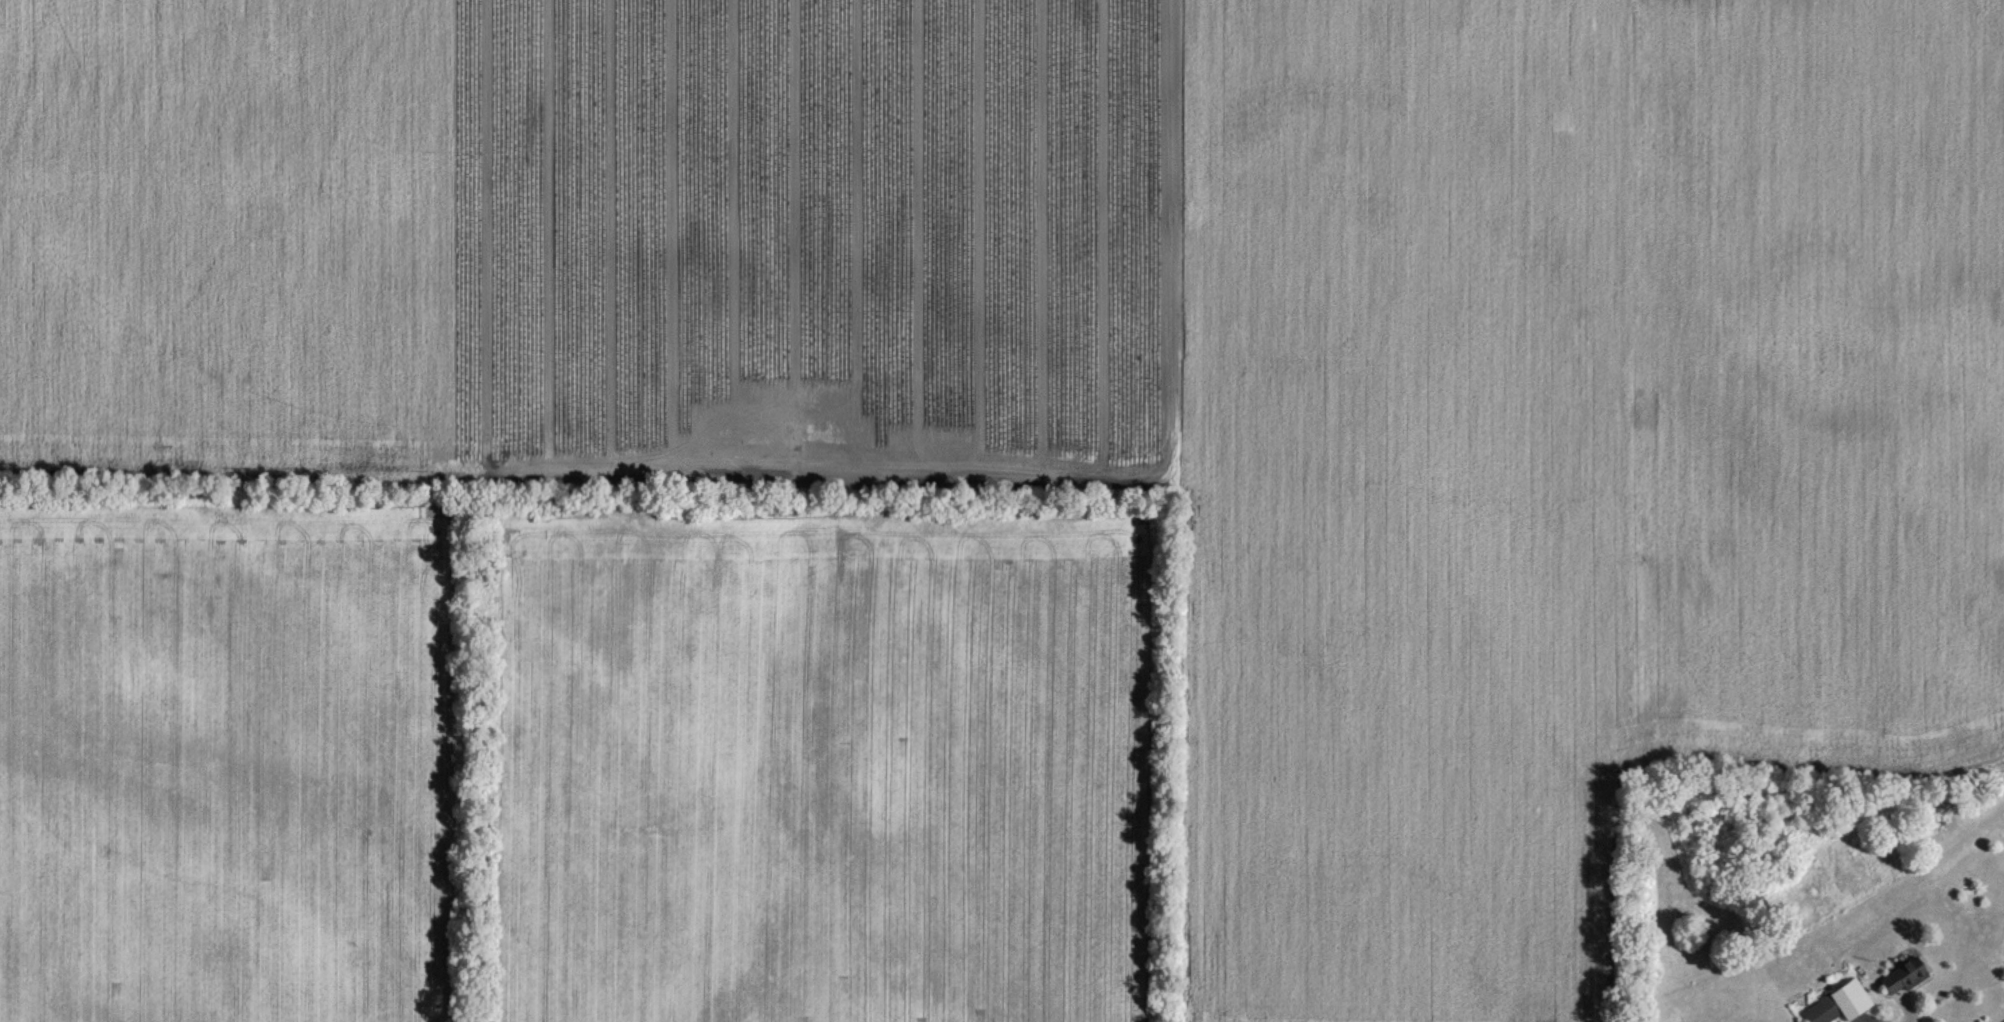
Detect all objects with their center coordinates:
building: (1901, 976)
building: (1832, 1005)

